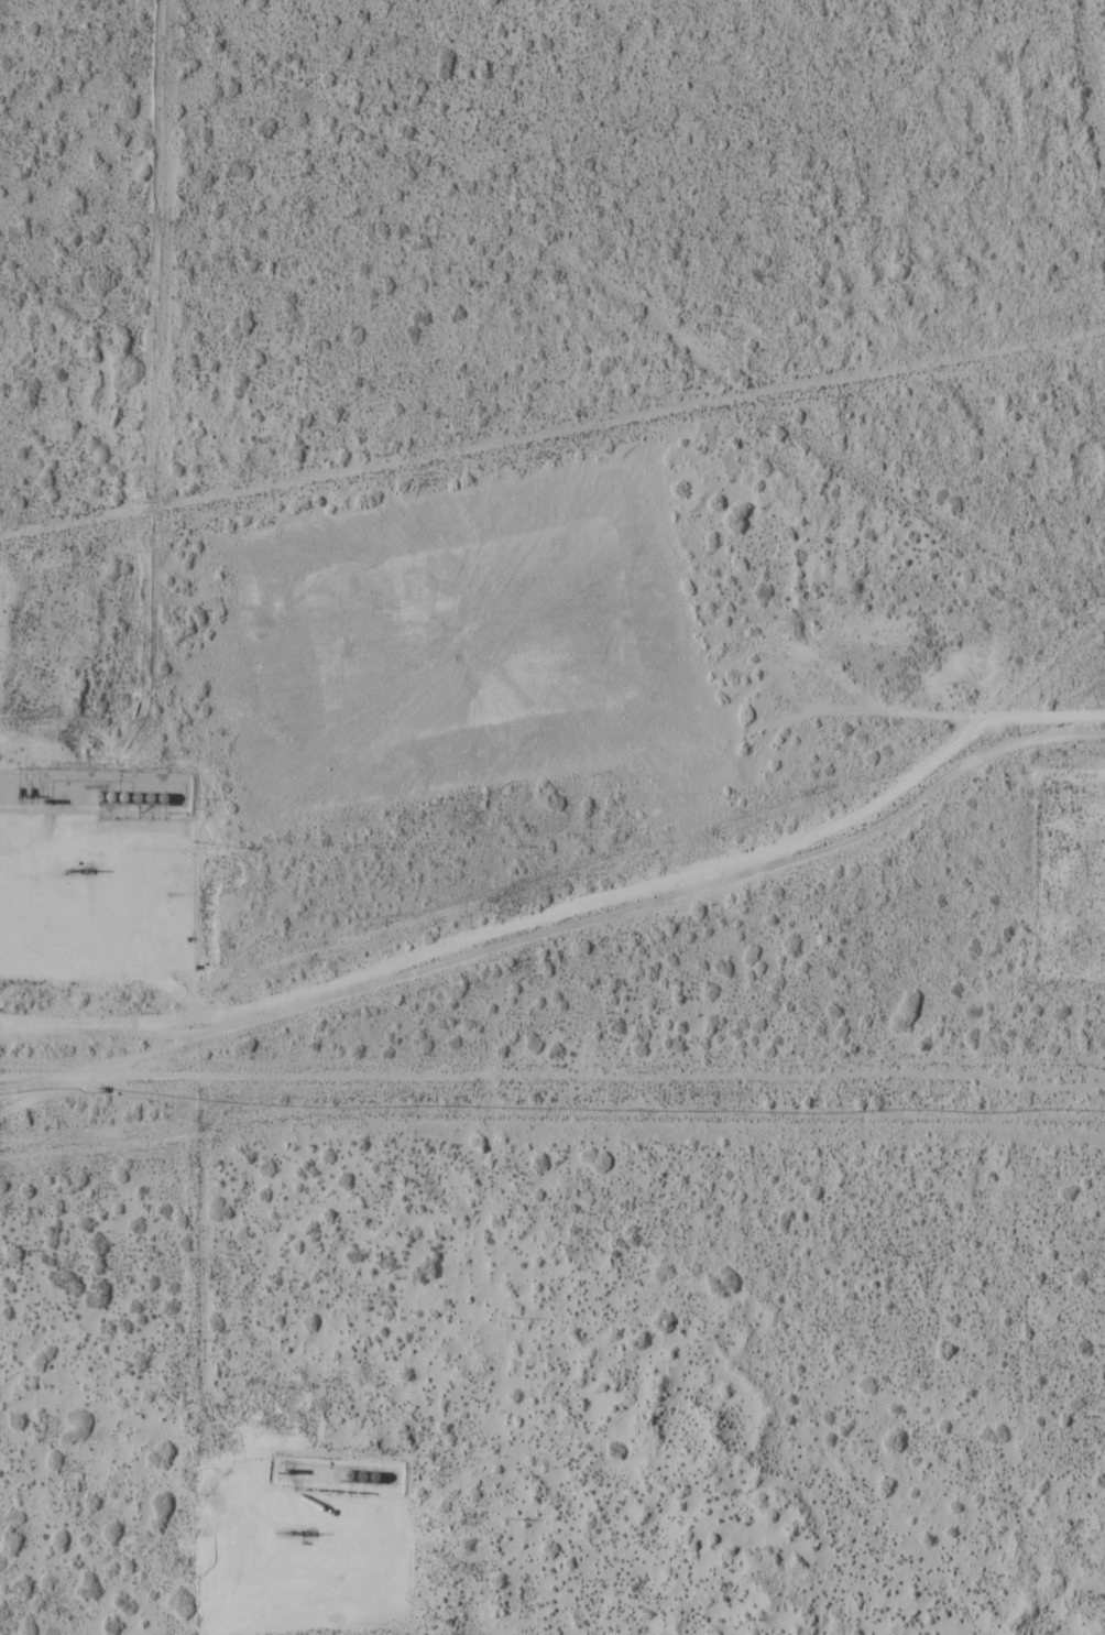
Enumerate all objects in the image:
road: (660, 682)
road: (951, 710)
road: (44, 830)
road: (1102, 898)
road: (507, 940)
road: (270, 1541)

